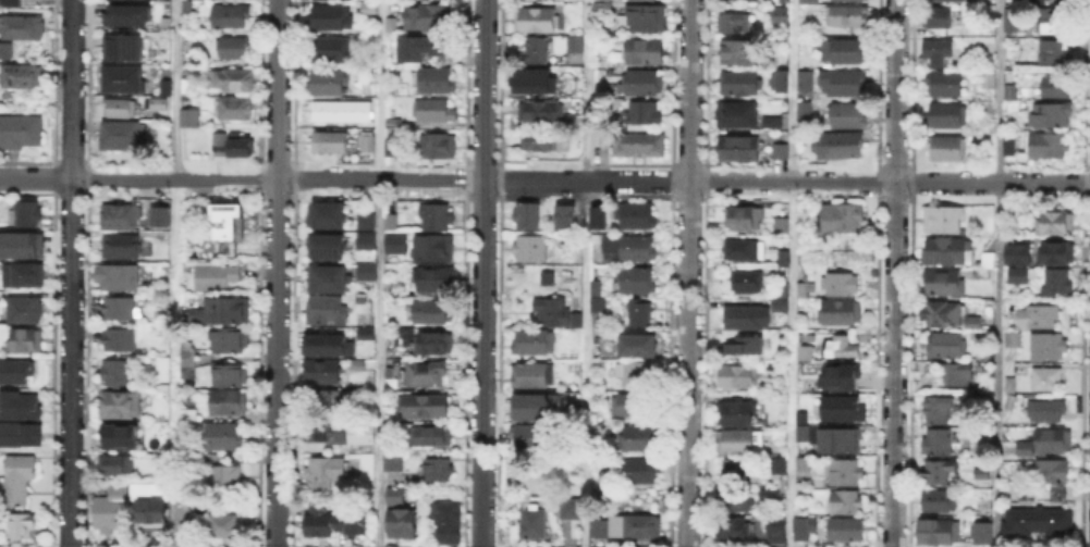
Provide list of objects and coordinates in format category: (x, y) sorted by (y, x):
building: (602, 0)
building: (959, 0)
building: (644, 1)
building: (806, 1)
building: (1027, 1)
building: (9, 3)
building: (188, 10)
building: (369, 11)
building: (602, 12)
building: (777, 13)
building: (128, 15)
building: (233, 16)
building: (331, 17)
building: (646, 17)
building: (848, 17)
building: (427, 18)
building: (942, 18)
building: (538, 20)
building: (1057, 21)
building: (731, 22)
building: (20, 25)
building: (1007, 25)
building: (392, 26)
building: (577, 45)
building: (126, 47)
building: (330, 47)
building: (4, 48)
building: (736, 49)
building: (234, 50)
building: (419, 51)
building: (539, 51)
building: (938, 51)
building: (646, 52)
building: (844, 52)
building: (1056, 52)
building: (987, 74)
building: (26, 79)
building: (532, 79)
building: (803, 79)
building: (124, 80)
building: (232, 80)
building: (327, 82)
building: (438, 82)
building: (644, 84)
building: (740, 84)
building: (844, 84)
building: (945, 84)
building: (1060, 85)
building: (781, 87)
building: (188, 88)
building: (168, 89)
building: (1007, 89)
building: (160, 105)
building: (119, 108)
building: (801, 108)
building: (1020, 109)
building: (236, 110)
building: (434, 112)
building: (343, 113)
building: (541, 113)
building: (738, 114)
building: (646, 115)
building: (947, 115)
building: (1052, 115)
building: (848, 116)
building: (191, 120)
building: (772, 122)
building: (1004, 122)
building: (394, 123)
building: (20, 128)
building: (126, 136)
building: (541, 140)
building: (636, 142)
road: (176, 144)
building: (333, 144)
building: (368, 145)
building: (232, 146)
building: (845, 147)
building: (439, 148)
building: (1049, 148)
building: (393, 149)
building: (740, 149)
building: (777, 149)
building: (946, 150)
road: (35, 178)
road: (275, 179)
road: (535, 179)
road: (689, 181)
road: (940, 182)
building: (26, 215)
building: (327, 215)
building: (120, 216)
building: (527, 216)
building: (564, 216)
building: (597, 216)
building: (636, 216)
building: (437, 217)
building: (744, 219)
building: (945, 219)
building: (156, 220)
building: (841, 220)
building: (366, 221)
building: (1060, 222)
building: (392, 223)
building: (780, 223)
building: (229, 232)
building: (20, 243)
building: (367, 244)
building: (396, 245)
building: (632, 246)
building: (121, 248)
building: (436, 248)
building: (329, 249)
building: (532, 250)
building: (745, 251)
building: (950, 251)
building: (1018, 253)
building: (1058, 253)
building: (782, 256)
building: (864, 258)
building: (985, 268)
road: (70, 273)
road: (275, 273)
building: (368, 273)
road: (379, 273)
road: (481, 273)
road: (586, 273)
road: (688, 273)
road: (792, 273)
road: (893, 273)
road: (997, 273)
building: (24, 276)
building: (217, 276)
building: (544, 276)
building: (1019, 277)
building: (120, 278)
building: (635, 279)
building: (330, 281)
building: (434, 281)
building: (747, 283)
building: (842, 283)
building: (1058, 283)
building: (946, 284)
building: (592, 286)
building: (783, 288)
building: (805, 289)
building: (595, 303)
building: (780, 304)
building: (120, 309)
building: (24, 310)
building: (431, 310)
building: (552, 310)
building: (221, 311)
building: (327, 311)
building: (842, 313)
building: (945, 313)
building: (640, 314)
building: (744, 319)
building: (1039, 319)
building: (576, 321)
building: (781, 322)
building: (975, 324)
building: (363, 332)
building: (403, 337)
building: (599, 337)
building: (119, 339)
building: (27, 340)
building: (228, 340)
building: (1015, 340)
building: (537, 341)
building: (324, 343)
building: (434, 345)
building: (638, 345)
building: (746, 347)
building: (840, 347)
building: (945, 347)
building: (1049, 347)
building: (185, 350)
building: (801, 350)
building: (807, 356)
building: (185, 360)
building: (354, 363)
building: (185, 371)
building: (115, 372)
building: (15, 374)
building: (226, 374)
building: (323, 374)
building: (957, 374)
building: (426, 375)
building: (535, 375)
building: (639, 375)
building: (742, 377)
building: (846, 378)
building: (1048, 381)
building: (1009, 384)
building: (327, 397)
building: (225, 400)
building: (982, 401)
building: (1012, 401)
building: (120, 405)
building: (633, 405)
building: (20, 407)
building: (425, 408)
building: (845, 409)
building: (940, 410)
building: (1048, 411)
building: (529, 412)
building: (739, 414)
building: (188, 415)
building: (804, 415)
building: (603, 430)
building: (811, 431)
building: (801, 432)
building: (359, 433)
building: (15, 435)
building: (327, 435)
building: (120, 437)
building: (433, 437)
building: (224, 438)
building: (838, 438)
building: (532, 439)
building: (640, 439)
building: (739, 442)
building: (1049, 443)
building: (940, 444)
building: (370, 446)
building: (199, 462)
building: (393, 462)
building: (775, 464)
building: (120, 465)
building: (805, 467)
building: (1026, 467)
building: (323, 471)
building: (640, 471)
building: (439, 472)
building: (738, 474)
building: (847, 474)
building: (939, 474)
building: (982, 474)
building: (15, 476)
building: (226, 477)
building: (1054, 478)
building: (770, 497)
building: (938, 500)
road: (172, 501)
building: (737, 502)
building: (846, 502)
building: (151, 506)
building: (110, 509)
building: (574, 512)
building: (187, 518)
building: (401, 518)
building: (316, 520)
building: (1037, 520)
building: (352, 522)
building: (448, 523)
building: (534, 525)
building: (228, 526)
building: (801, 526)
building: (23, 527)
building: (645, 527)
building: (773, 529)
building: (602, 530)
building: (736, 531)
building: (847, 532)
building: (985, 533)
building: (941, 534)

